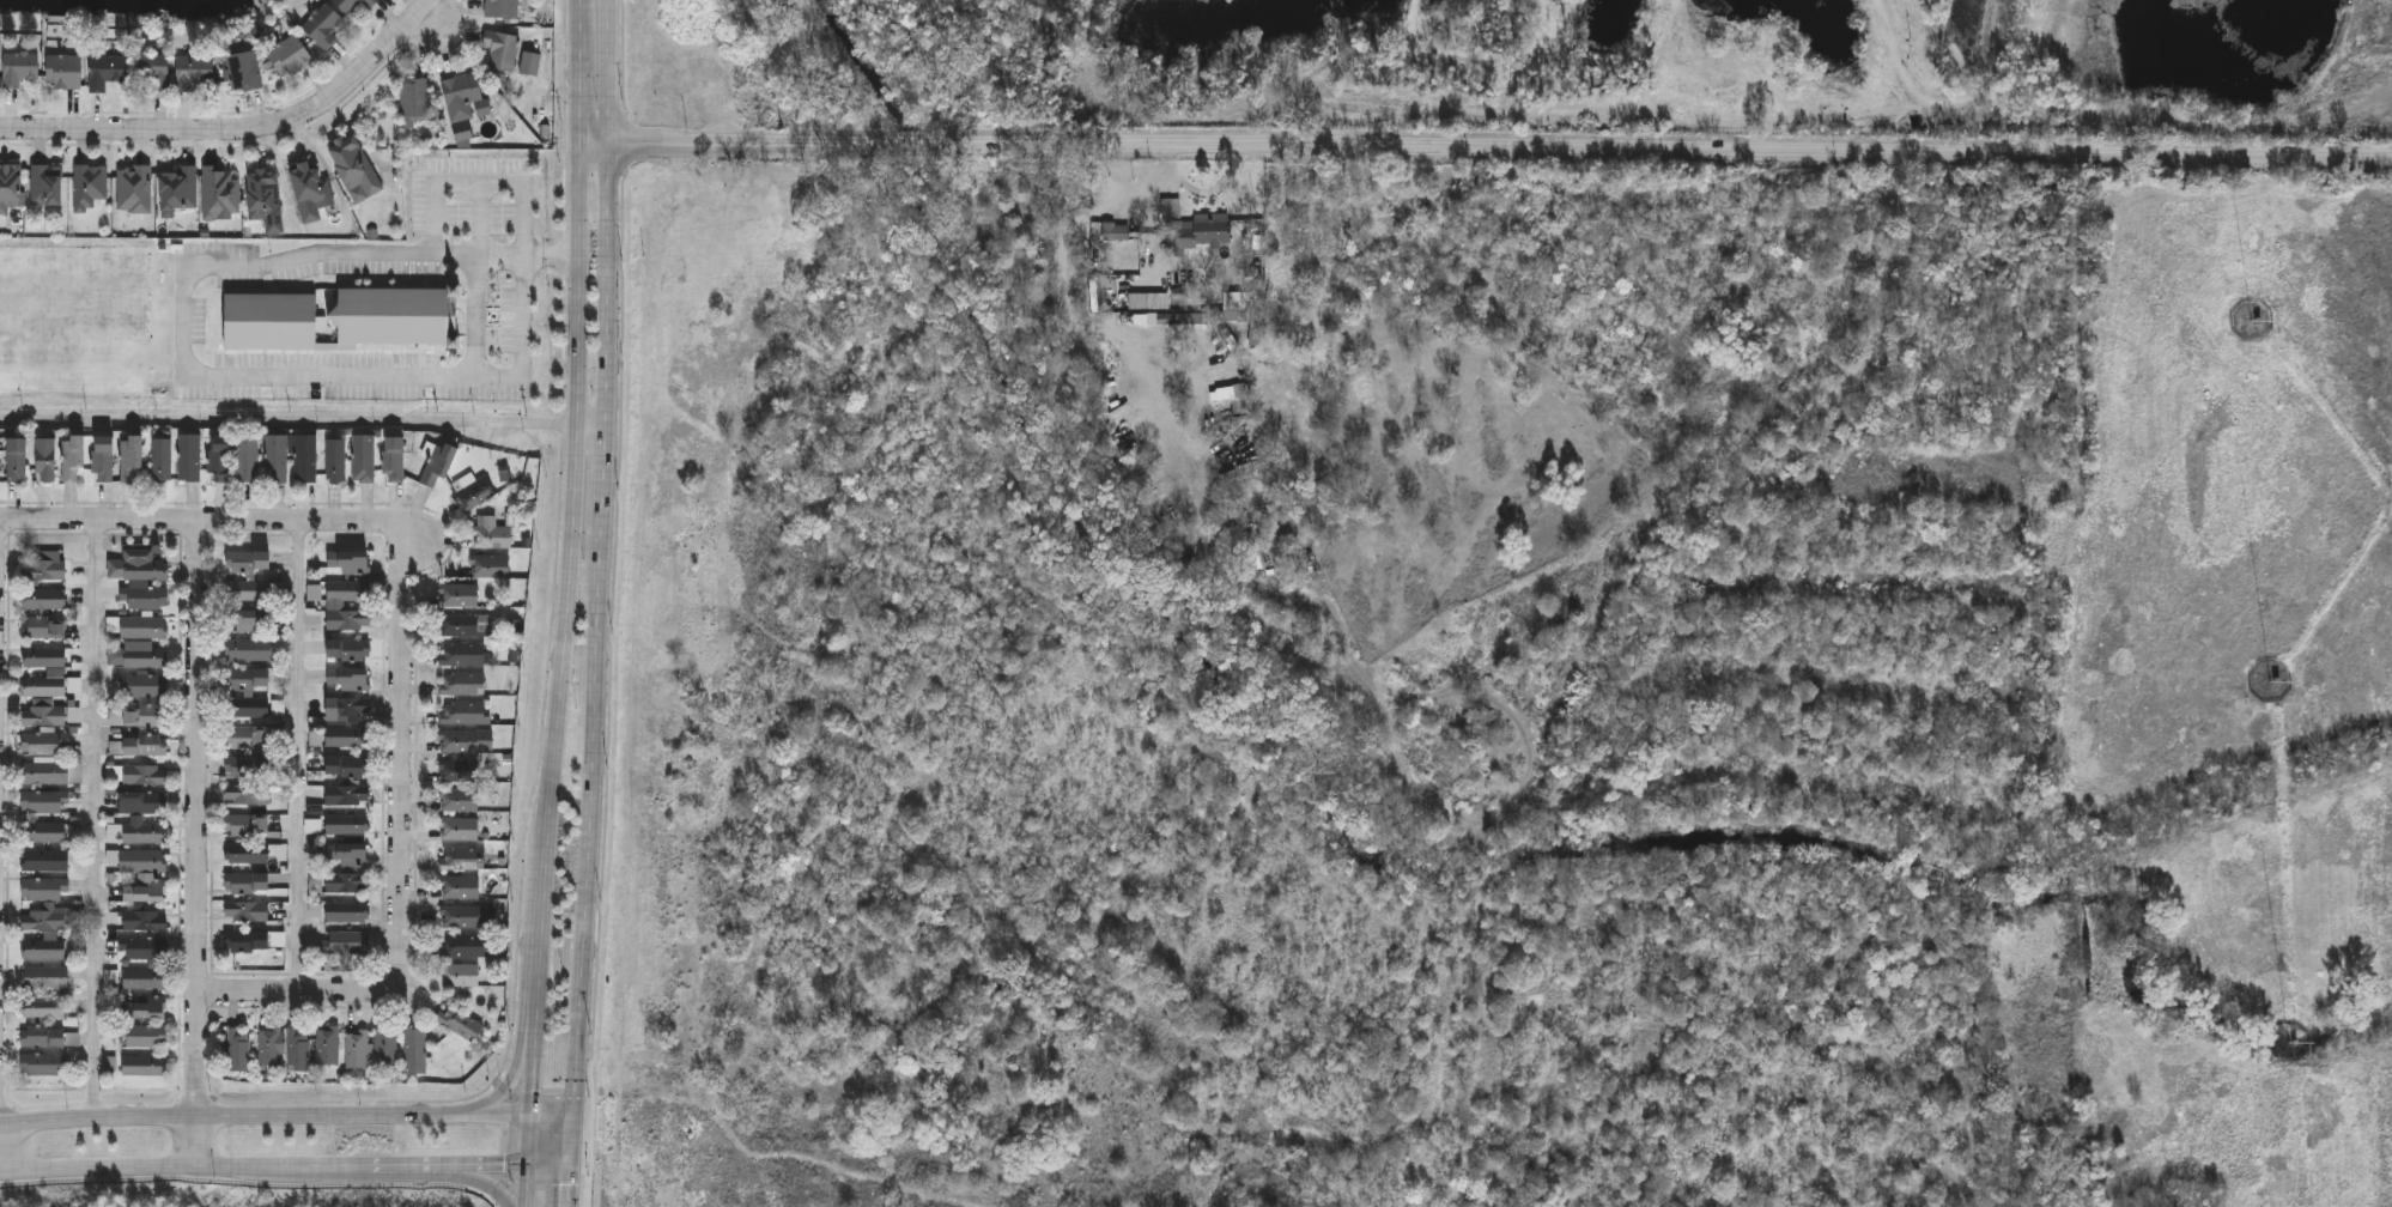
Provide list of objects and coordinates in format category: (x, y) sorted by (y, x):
building: (502, 7)
road: (578, 14)
building: (322, 24)
building: (2379, 30)
building: (506, 50)
building: (289, 54)
building: (19, 66)
building: (152, 67)
building: (63, 69)
building: (105, 69)
building: (194, 71)
building: (244, 71)
road: (581, 90)
building: (462, 93)
building: (415, 102)
road: (239, 129)
road: (1487, 148)
building: (354, 168)
building: (47, 183)
building: (89, 184)
building: (10, 186)
building: (134, 187)
building: (178, 188)
building: (311, 189)
building: (265, 198)
building: (1117, 235)
building: (1201, 235)
building: (342, 319)
road: (183, 328)
road: (522, 348)
road: (304, 424)
building: (72, 457)
building: (130, 457)
building: (189, 457)
building: (17, 459)
building: (104, 459)
building: (220, 459)
building: (248, 459)
building: (291, 459)
building: (363, 459)
building: (45, 460)
building: (162, 460)
building: (394, 460)
building: (335, 462)
building: (438, 463)
building: (474, 495)
road: (207, 522)
road: (6, 528)
building: (491, 534)
building: (350, 562)
road: (572, 563)
building: (136, 565)
building: (490, 566)
building: (45, 570)
building: (248, 576)
building: (459, 595)
building: (144, 596)
building: (44, 600)
road: (602, 603)
building: (334, 606)
building: (244, 620)
building: (466, 625)
building: (44, 627)
building: (144, 627)
building: (249, 650)
building: (348, 650)
building: (465, 655)
building: (145, 657)
building: (250, 679)
building: (350, 679)
building: (463, 684)
building: (144, 685)
building: (44, 702)
building: (348, 708)
building: (253, 710)
building: (463, 714)
building: (145, 717)
building: (247, 738)
building: (466, 741)
building: (346, 742)
building: (144, 746)
road: (298, 757)
building: (247, 768)
building: (348, 768)
building: (459, 771)
building: (45, 775)
building: (144, 776)
building: (247, 795)
building: (347, 795)
building: (459, 800)
building: (44, 802)
building: (142, 803)
road: (95, 820)
building: (346, 825)
building: (249, 826)
building: (459, 829)
building: (44, 832)
building: (142, 835)
road: (198, 847)
building: (247, 854)
building: (348, 855)
road: (401, 857)
building: (462, 857)
building: (45, 861)
building: (141, 861)
building: (247, 882)
building: (345, 882)
building: (460, 887)
building: (144, 892)
building: (47, 905)
building: (247, 911)
building: (347, 911)
building: (461, 916)
building: (145, 922)
building: (255, 940)
building: (345, 942)
building: (465, 946)
building: (43, 947)
building: (156, 964)
building: (461, 975)
building: (45, 977)
road: (535, 993)
building: (144, 1008)
building: (45, 1009)
building: (460, 1023)
building: (146, 1036)
building: (49, 1037)
building: (269, 1045)
building: (328, 1045)
building: (238, 1049)
building: (299, 1049)
building: (358, 1049)
building: (385, 1049)
building: (414, 1050)
road: (532, 1061)
building: (44, 1065)
building: (144, 1066)
road: (514, 1069)
road: (289, 1111)
traffic signals: (530, 1111)
traffic signals: (579, 1111)
road: (527, 1158)
road: (473, 1167)
traffic signals: (527, 1167)
road: (551, 1167)
traffic signals: (575, 1167)
road: (393, 1170)
road: (182, 1172)
road: (469, 1178)
road: (526, 1178)
road: (247, 1183)
road: (589, 1184)

